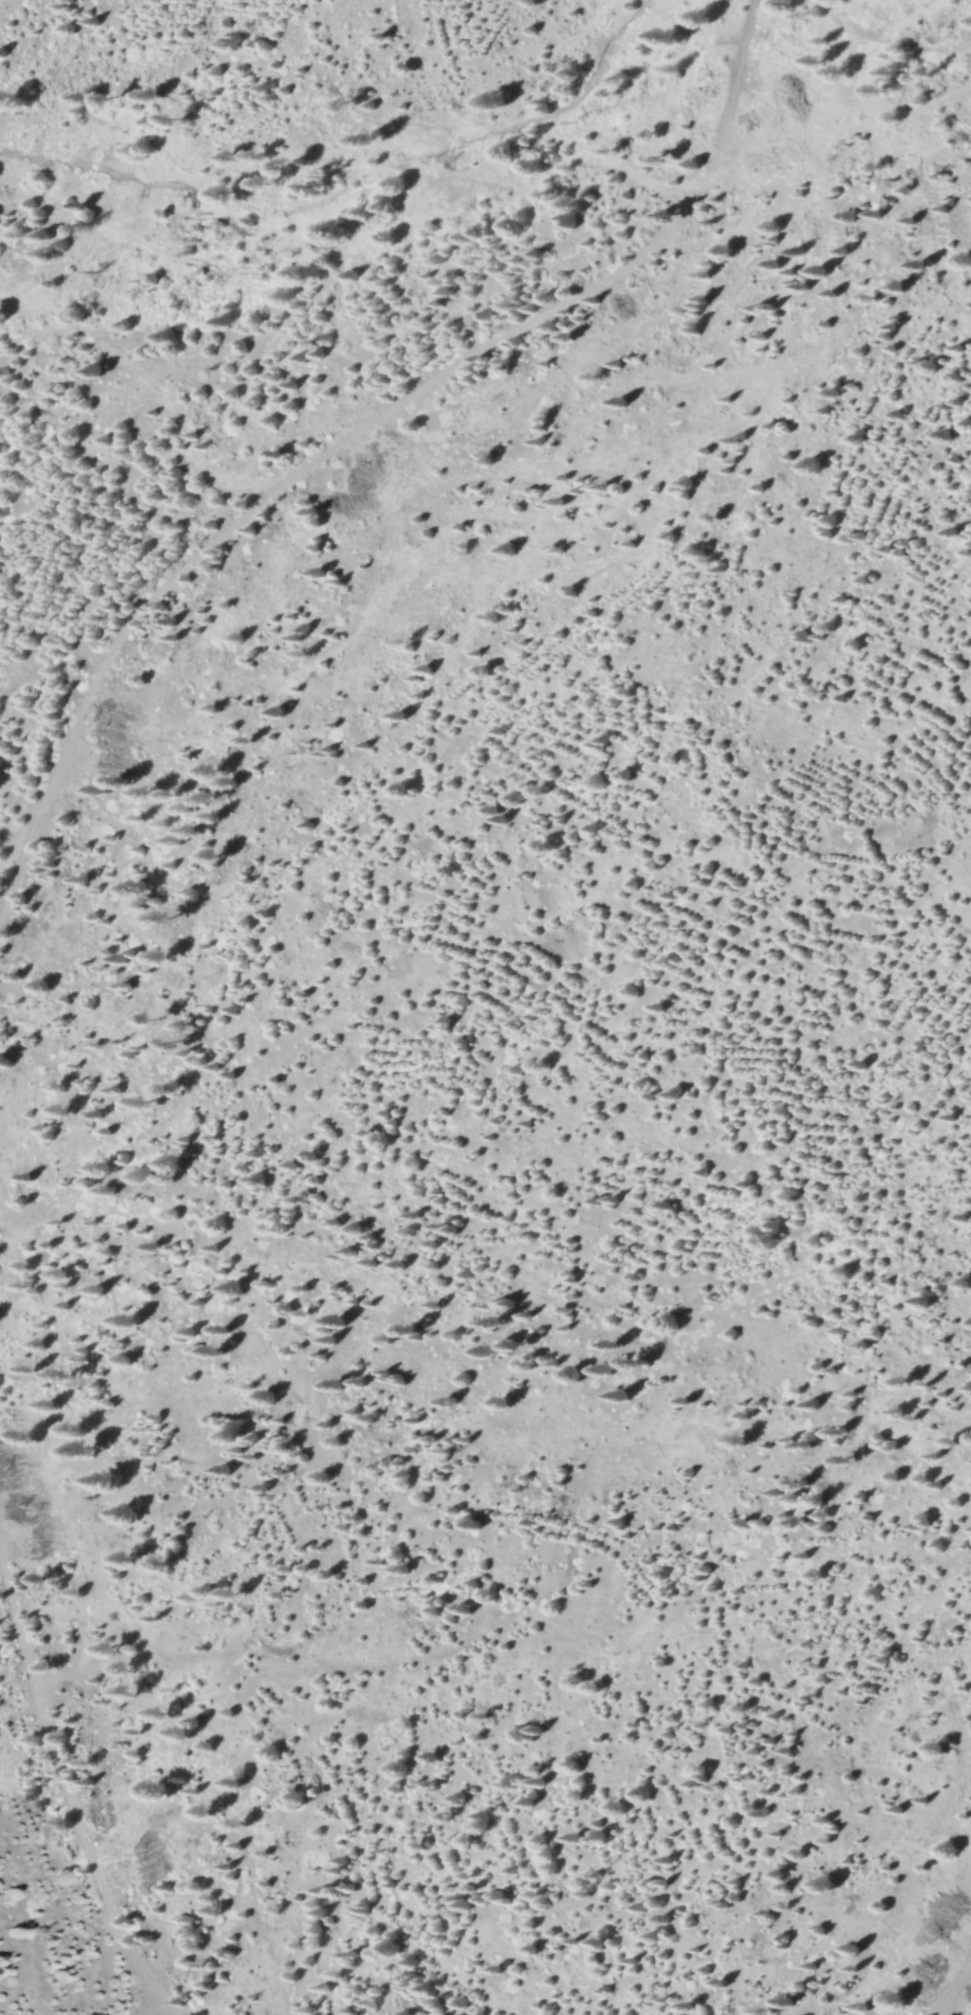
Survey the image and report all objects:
road: (358, 425)
road: (65, 1790)

